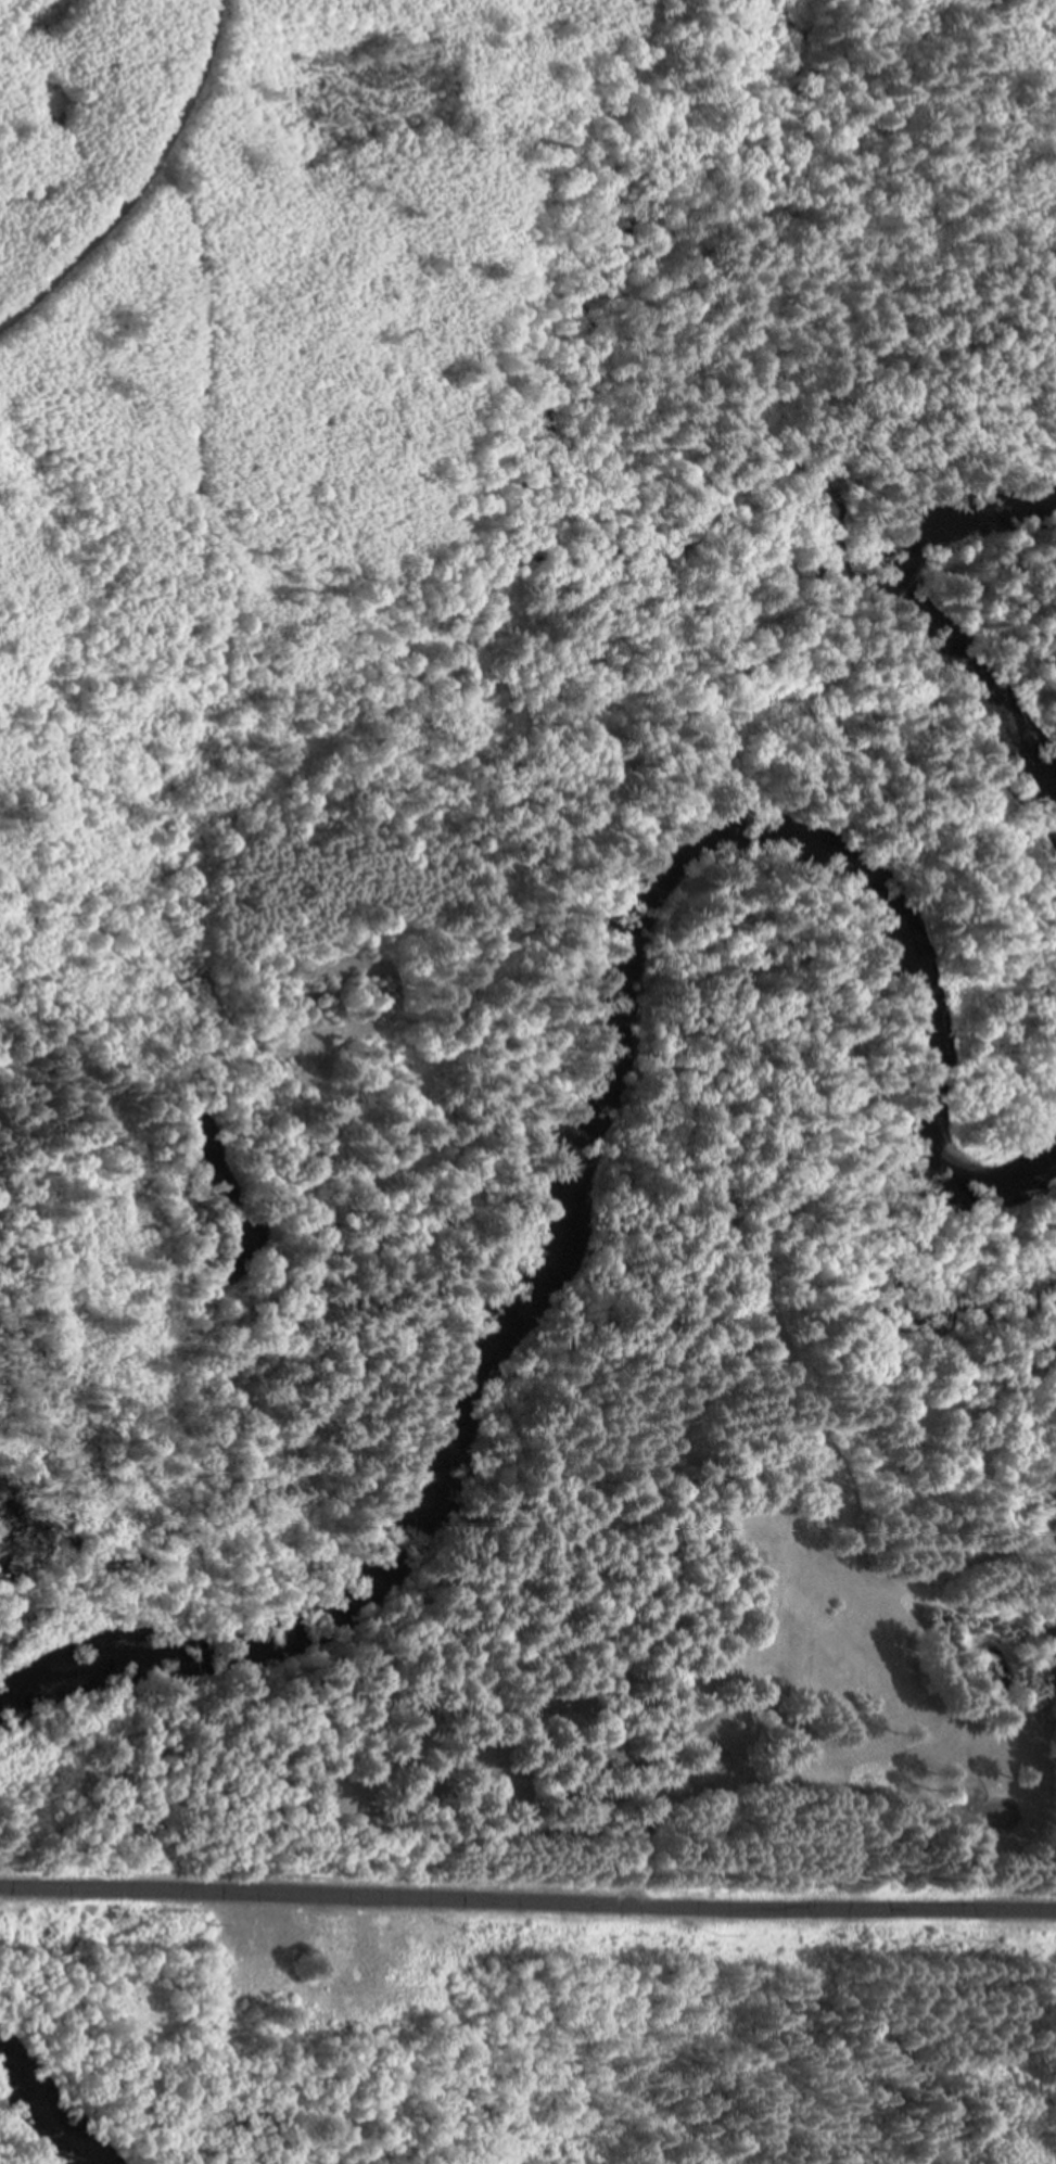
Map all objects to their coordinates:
road: (133, 174)
river: (968, 520)
river: (975, 699)
river: (576, 1124)
road: (527, 1902)
river: (54, 2103)

